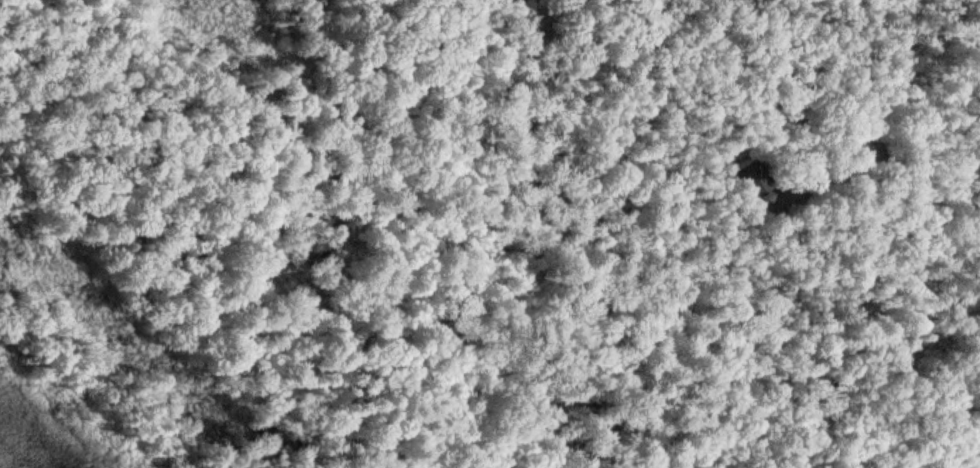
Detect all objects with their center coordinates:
road: (879, 140)

